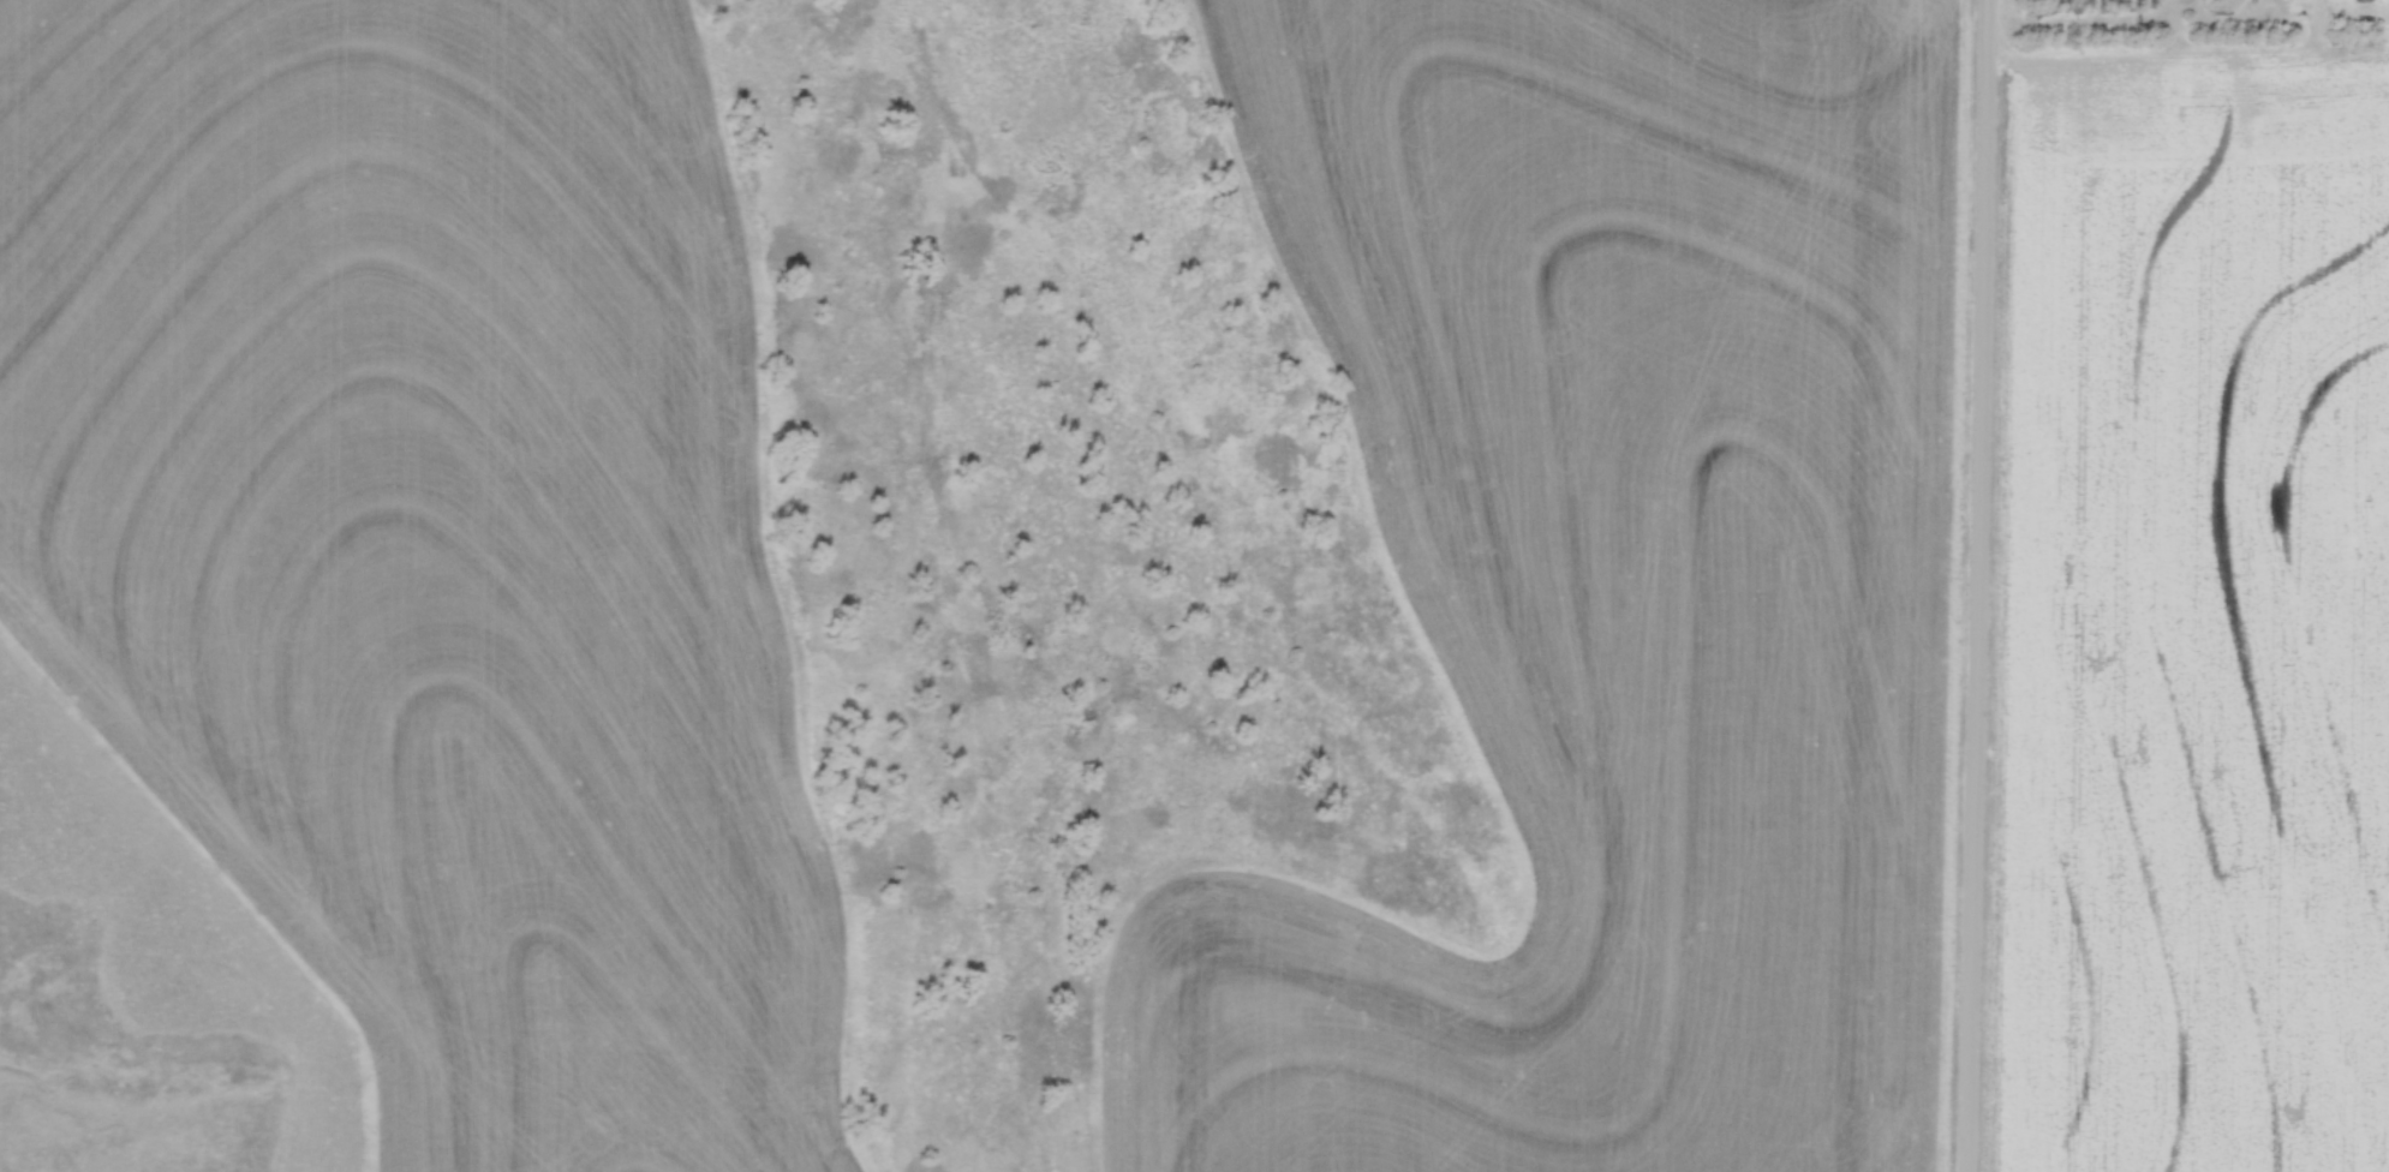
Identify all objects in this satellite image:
building: (2365, 0)
road: (2181, 59)
road: (1975, 586)

